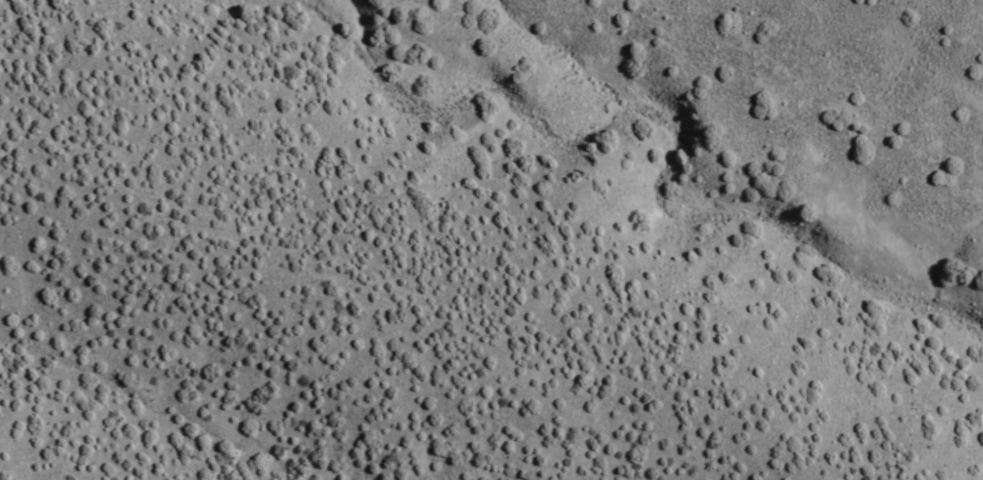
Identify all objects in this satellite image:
road: (424, 345)

